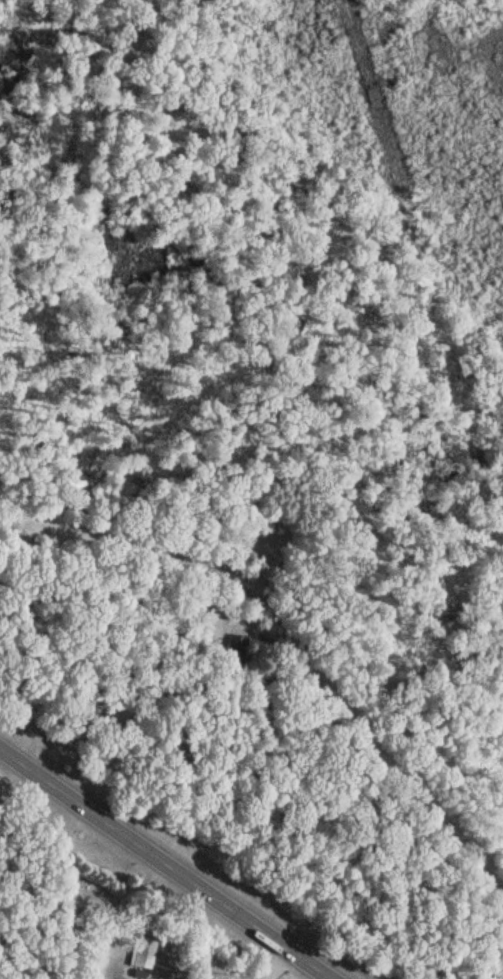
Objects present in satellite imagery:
road: (265, 425)
building: (270, 634)
road: (291, 645)
building: (238, 648)
road: (164, 866)
building: (144, 952)

